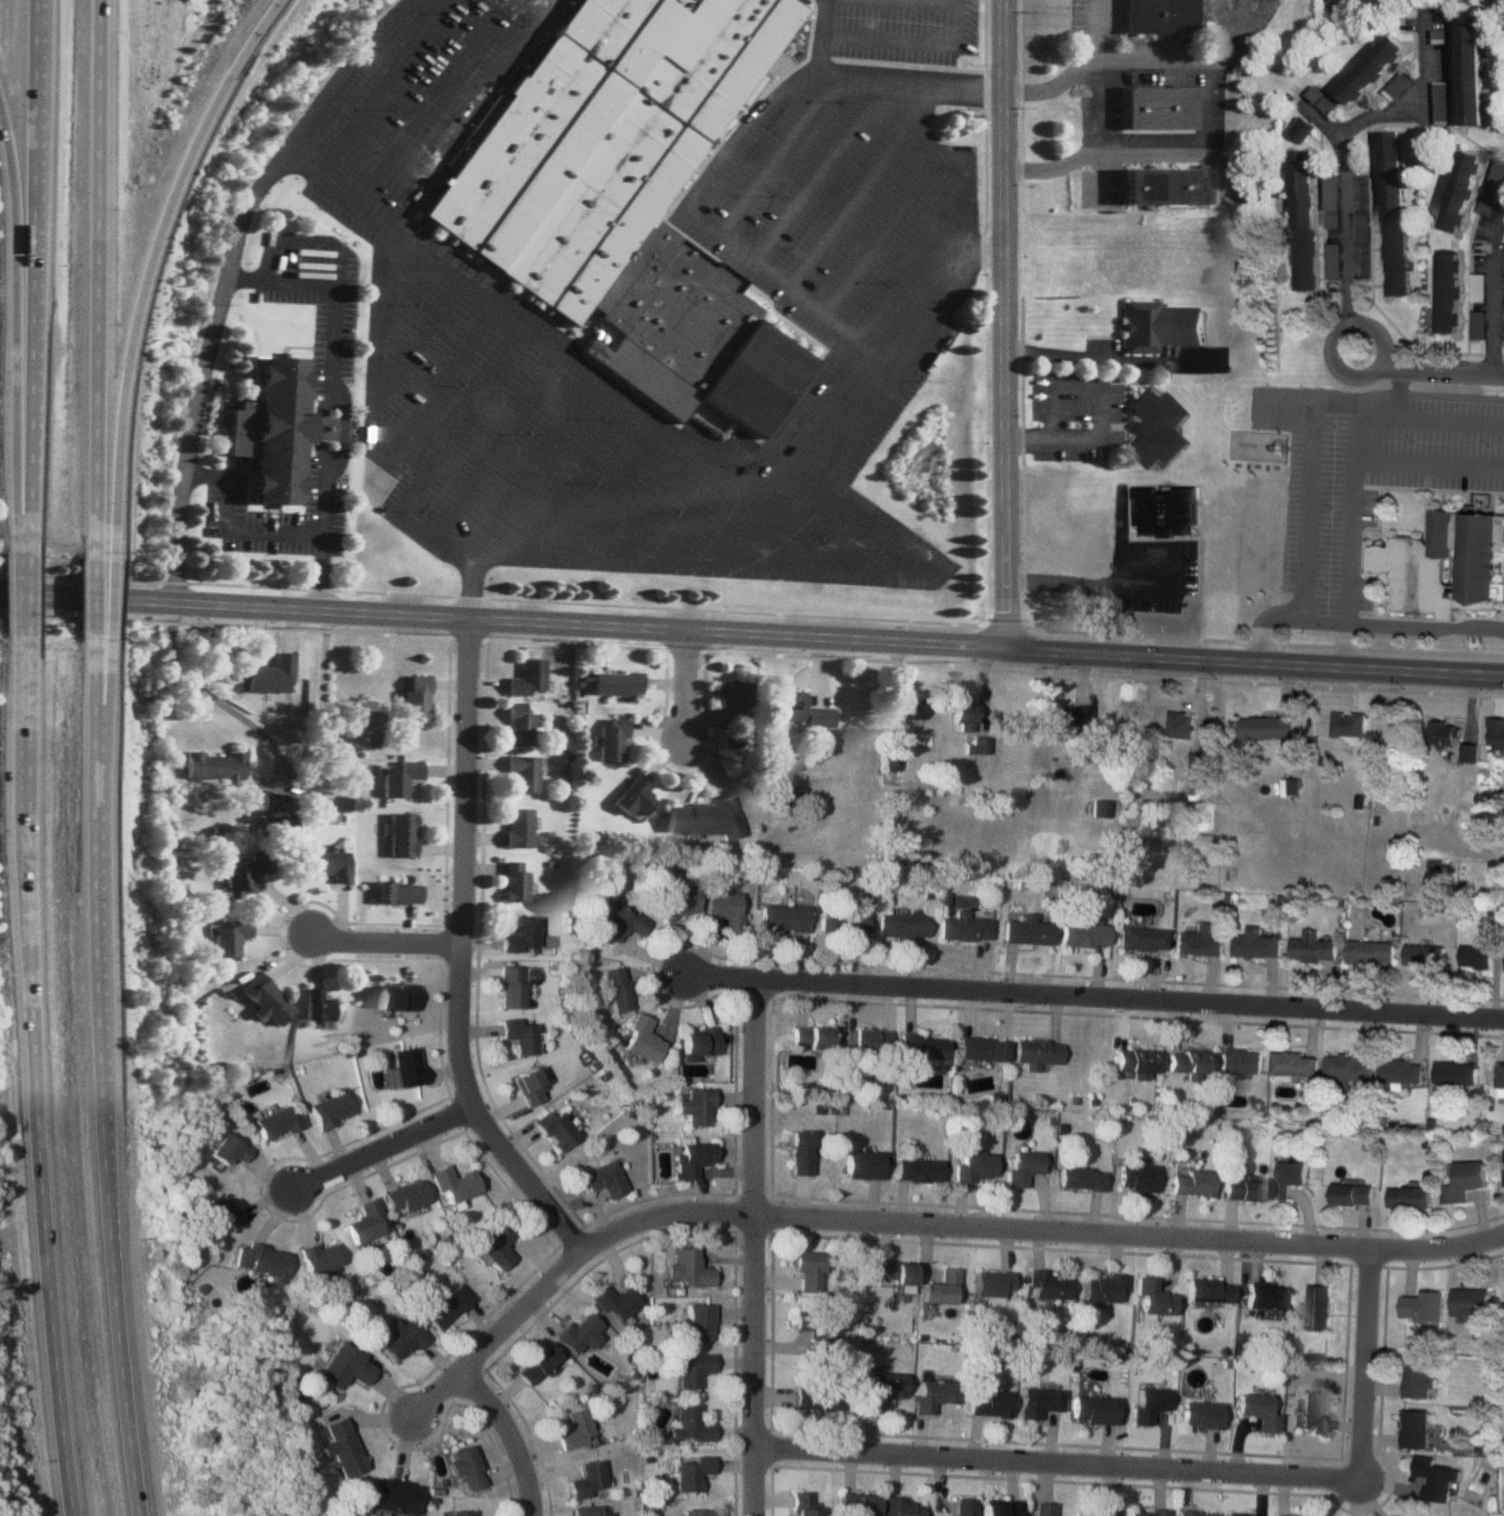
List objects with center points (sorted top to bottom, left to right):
road: (937, 0)
road: (416, 16)
building: (1158, 18)
road: (481, 25)
parking lot: (901, 32)
building: (1503, 33)
road: (821, 37)
road: (910, 43)
road: (464, 50)
road: (1142, 62)
building: (1372, 71)
building: (1470, 72)
building: (1399, 87)
road: (1419, 99)
road: (373, 101)
road: (1005, 106)
road: (1020, 106)
building: (1157, 111)
road: (913, 112)
road: (471, 113)
road: (1094, 121)
road: (1325, 122)
road: (409, 127)
building: (602, 137)
road: (1198, 150)
road: (778, 155)
road: (937, 164)
road: (719, 166)
road: (819, 172)
road: (326, 185)
building: (1164, 189)
building: (1459, 192)
road: (844, 212)
building: (1390, 213)
road: (957, 217)
building: (1302, 221)
road: (879, 238)
road: (958, 248)
road: (1006, 254)
road: (991, 256)
road: (145, 265)
road: (25, 279)
road: (90, 280)
parking lot: (853, 282)
road: (401, 292)
building: (1445, 293)
road: (902, 294)
road: (1495, 309)
road: (1351, 314)
road: (985, 323)
building: (1159, 327)
road: (417, 344)
parking lot: (1103, 346)
road: (374, 348)
road: (8, 350)
road: (1059, 354)
road: (203, 371)
road: (1006, 380)
road: (1022, 380)
road: (441, 382)
road: (847, 395)
road: (332, 397)
road: (1102, 403)
road: (627, 406)
road: (870, 413)
parking lot: (1075, 417)
road: (1425, 420)
road: (462, 424)
building: (1157, 428)
building: (272, 433)
road: (819, 433)
road: (495, 448)
road: (1272, 470)
road: (790, 472)
road: (573, 481)
road: (1007, 485)
road: (514, 494)
road: (615, 496)
road: (757, 502)
road: (658, 510)
road: (1310, 510)
building: (1164, 512)
road: (1352, 512)
road: (698, 522)
road: (229, 529)
road: (823, 550)
road: (570, 561)
building: (1444, 564)
parking lot: (1149, 566)
road: (827, 572)
road: (1007, 578)
road: (1089, 585)
road: (22, 598)
road: (86, 598)
road: (103, 598)
road: (1302, 619)
road: (504, 621)
road: (1401, 625)
road: (1255, 662)
building: (268, 676)
building: (526, 679)
building: (614, 684)
road: (684, 687)
building: (730, 695)
building: (414, 700)
road: (212, 701)
building: (908, 707)
road: (98, 711)
building: (798, 711)
building: (961, 715)
building: (1062, 717)
building: (1181, 723)
building: (1347, 724)
building: (516, 726)
building: (1267, 726)
building: (364, 727)
building: (1444, 732)
building: (1496, 732)
building: (609, 741)
building: (975, 744)
building: (1468, 752)
building: (889, 757)
building: (213, 767)
building: (521, 773)
building: (396, 778)
building: (632, 800)
building: (272, 803)
building: (1100, 807)
building: (702, 818)
building: (276, 827)
building: (515, 830)
building: (399, 837)
building: (328, 866)
building: (242, 874)
building: (512, 884)
building: (395, 894)
building: (679, 901)
building: (722, 906)
building: (785, 918)
road: (462, 922)
building: (620, 922)
building: (843, 923)
building: (903, 925)
building: (963, 927)
building: (1024, 930)
building: (1082, 934)
building: (521, 935)
building: (1141, 938)
building: (227, 939)
building: (1198, 941)
road: (384, 944)
building: (1255, 944)
building: (1311, 949)
building: (1369, 952)
building: (1424, 954)
building: (1475, 957)
building: (510, 986)
building: (615, 988)
road: (1093, 997)
building: (393, 998)
building: (264, 1002)
building: (315, 1007)
building: (519, 1036)
building: (812, 1036)
building: (641, 1039)
building: (868, 1040)
building: (700, 1043)
building: (923, 1046)
building: (982, 1048)
building: (1036, 1052)
building: (1189, 1060)
building: (1240, 1060)
building: (1136, 1061)
building: (1294, 1064)
building: (405, 1066)
building: (1347, 1067)
building: (1401, 1071)
building: (1456, 1072)
road: (33, 1077)
road: (95, 1077)
building: (1501, 1081)
building: (526, 1086)
building: (696, 1107)
building: (328, 1109)
building: (274, 1121)
building: (554, 1129)
road: (386, 1145)
building: (225, 1150)
building: (801, 1152)
building: (692, 1156)
building: (864, 1165)
building: (974, 1167)
building: (1023, 1167)
building: (918, 1170)
building: (1135, 1175)
building: (603, 1178)
building: (1080, 1178)
building: (1288, 1178)
building: (1464, 1180)
building: (1190, 1182)
building: (452, 1183)
building: (1242, 1189)
building: (1352, 1193)
building: (404, 1196)
building: (1410, 1197)
building: (220, 1213)
road: (921, 1221)
building: (364, 1222)
road: (564, 1226)
building: (495, 1245)
road: (757, 1248)
building: (317, 1257)
building: (259, 1262)
building: (686, 1269)
building: (807, 1269)
building: (893, 1272)
building: (1046, 1284)
building: (990, 1286)
building: (941, 1288)
building: (1101, 1288)
building: (1207, 1289)
building: (1262, 1294)
building: (1151, 1299)
building: (613, 1303)
building: (1470, 1303)
building: (1423, 1305)
building: (446, 1307)
building: (1318, 1307)
building: (697, 1321)
building: (577, 1333)
building: (821, 1333)
building: (401, 1339)
building: (535, 1363)
building: (343, 1367)
building: (691, 1369)
building: (1418, 1379)
building: (880, 1390)
building: (933, 1394)
building: (817, 1398)
building: (1038, 1401)
building: (988, 1403)
building: (1148, 1403)
building: (1093, 1409)
building: (1257, 1411)
building: (1314, 1411)
building: (1200, 1415)
building: (688, 1424)
building: (573, 1428)
building: (1416, 1429)
road: (511, 1436)
building: (340, 1447)
building: (463, 1467)
road: (1169, 1468)
building: (690, 1472)
building: (1435, 1477)
building: (586, 1479)
building: (392, 1496)
building: (802, 1504)
building: (855, 1504)
building: (962, 1506)
building: (901, 1507)
building: (999, 1507)
building: (1043, 1509)
building: (586, 1511)
building: (1106, 1511)
building: (695, 1512)
building: (1146, 1512)
building: (459, 1513)
building: (1195, 1513)
building: (1234, 1514)
building: (1421, 1514)
building: (1285, 1515)

